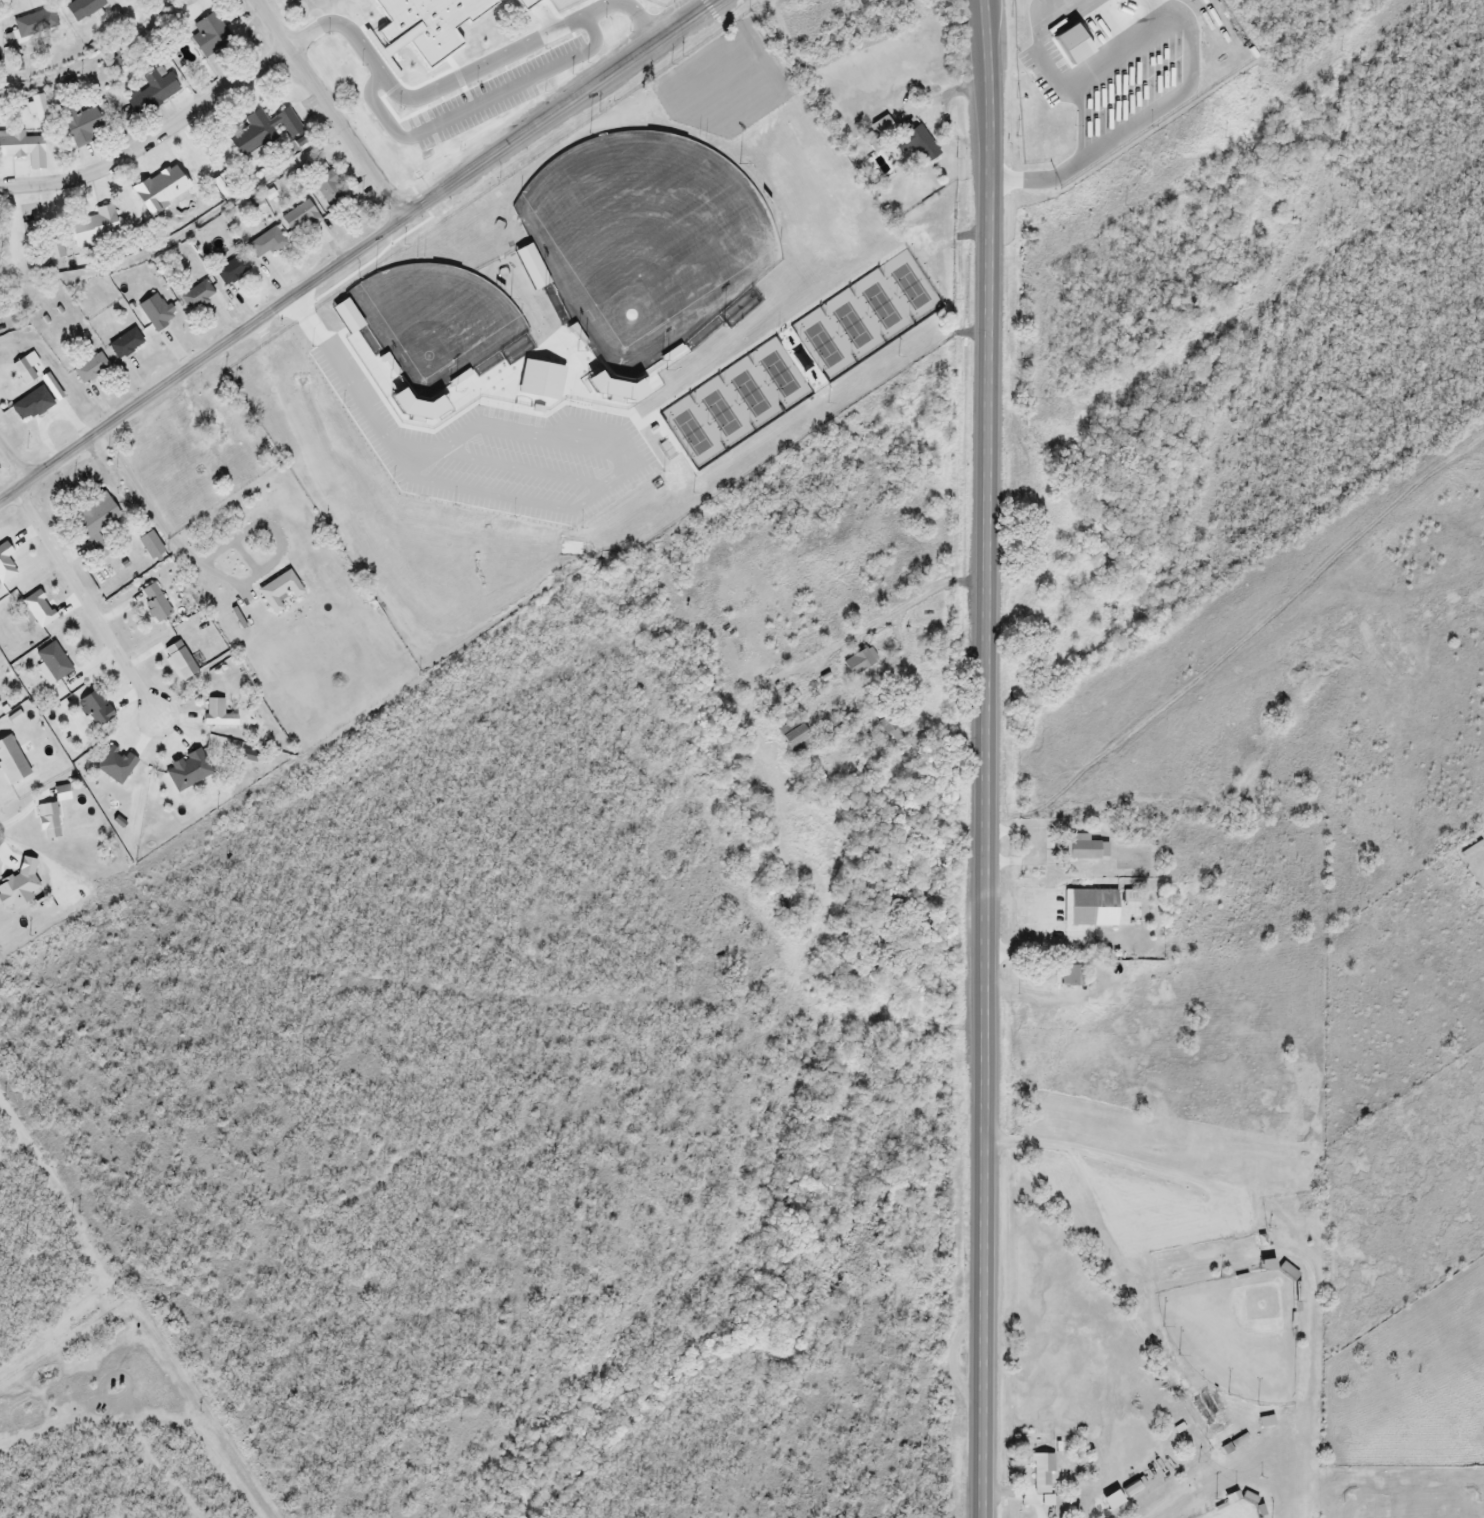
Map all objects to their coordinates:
building: (131, 0)
building: (81, 8)
building: (533, 17)
building: (34, 24)
park: (346, 26)
building: (211, 40)
building: (150, 94)
road: (328, 109)
building: (649, 116)
road: (1143, 125)
building: (83, 129)
building: (260, 132)
building: (905, 138)
road: (153, 139)
building: (764, 141)
building: (19, 145)
building: (329, 192)
building: (162, 194)
park: (687, 206)
building: (298, 219)
building: (91, 228)
building: (264, 244)
road: (358, 248)
building: (53, 250)
building: (230, 270)
building: (843, 284)
building: (937, 291)
building: (195, 296)
building: (526, 302)
building: (154, 312)
building: (891, 321)
building: (124, 344)
building: (493, 361)
building: (853, 361)
road: (349, 373)
building: (891, 388)
building: (791, 394)
building: (215, 444)
road: (12, 465)
building: (93, 520)
building: (147, 545)
road: (85, 601)
building: (153, 603)
building: (178, 662)
building: (52, 663)
building: (858, 663)
road: (980, 758)
building: (116, 767)
building: (1084, 849)
building: (1091, 908)
road: (1031, 948)
building: (1065, 974)
building: (1041, 1472)

